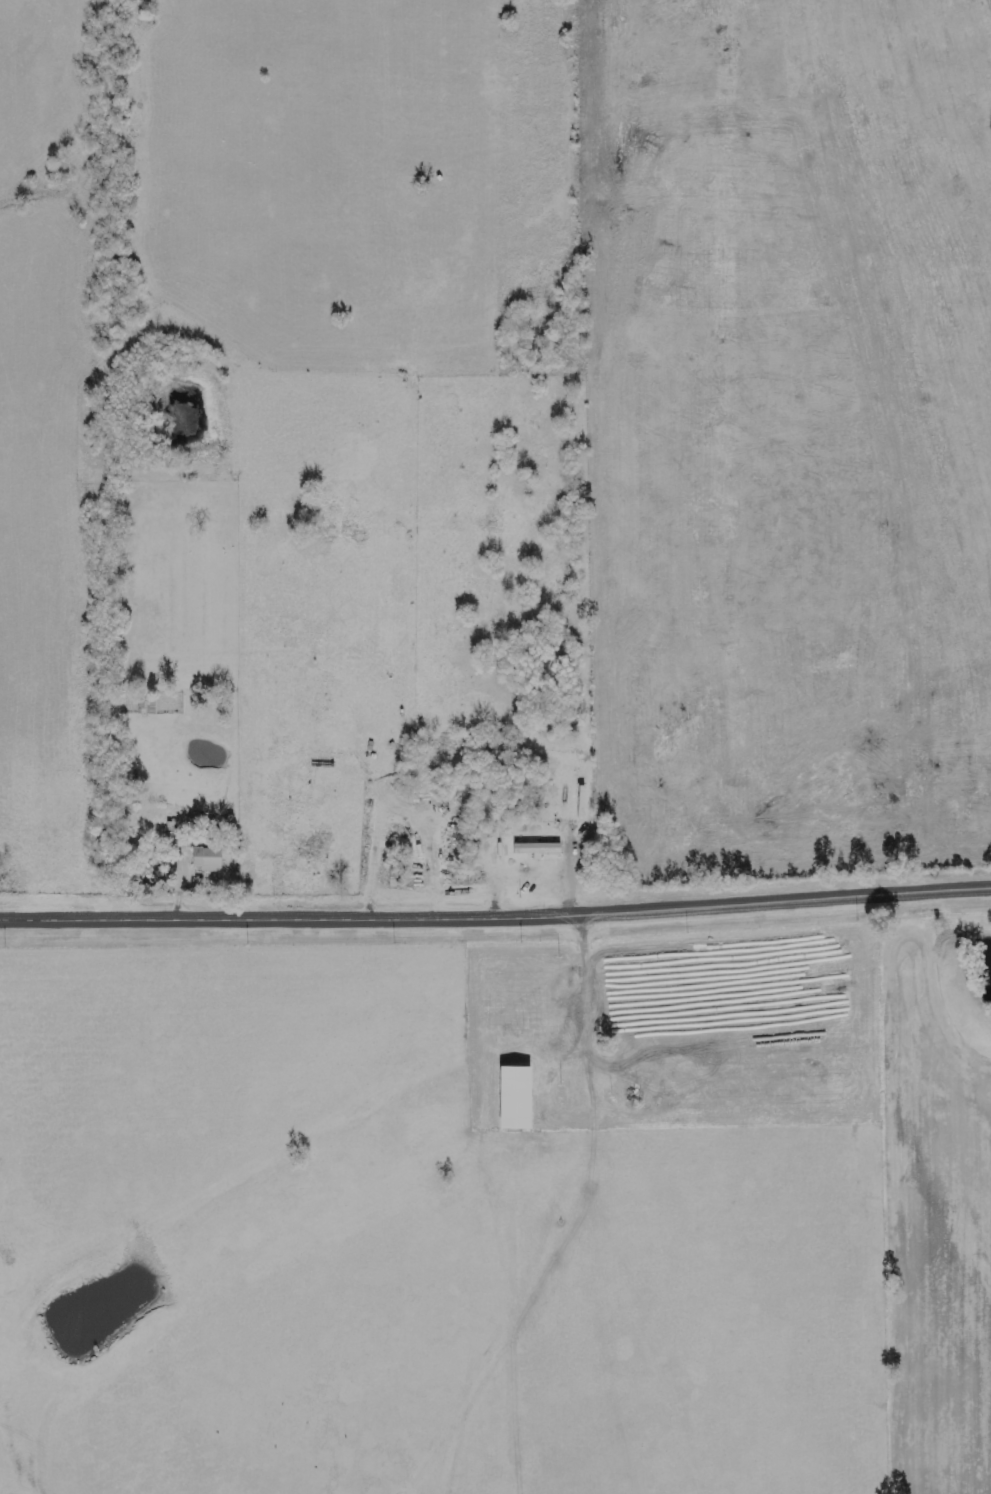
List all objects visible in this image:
road: (568, 459)
building: (540, 849)
building: (213, 857)
road: (495, 921)
building: (519, 1098)

